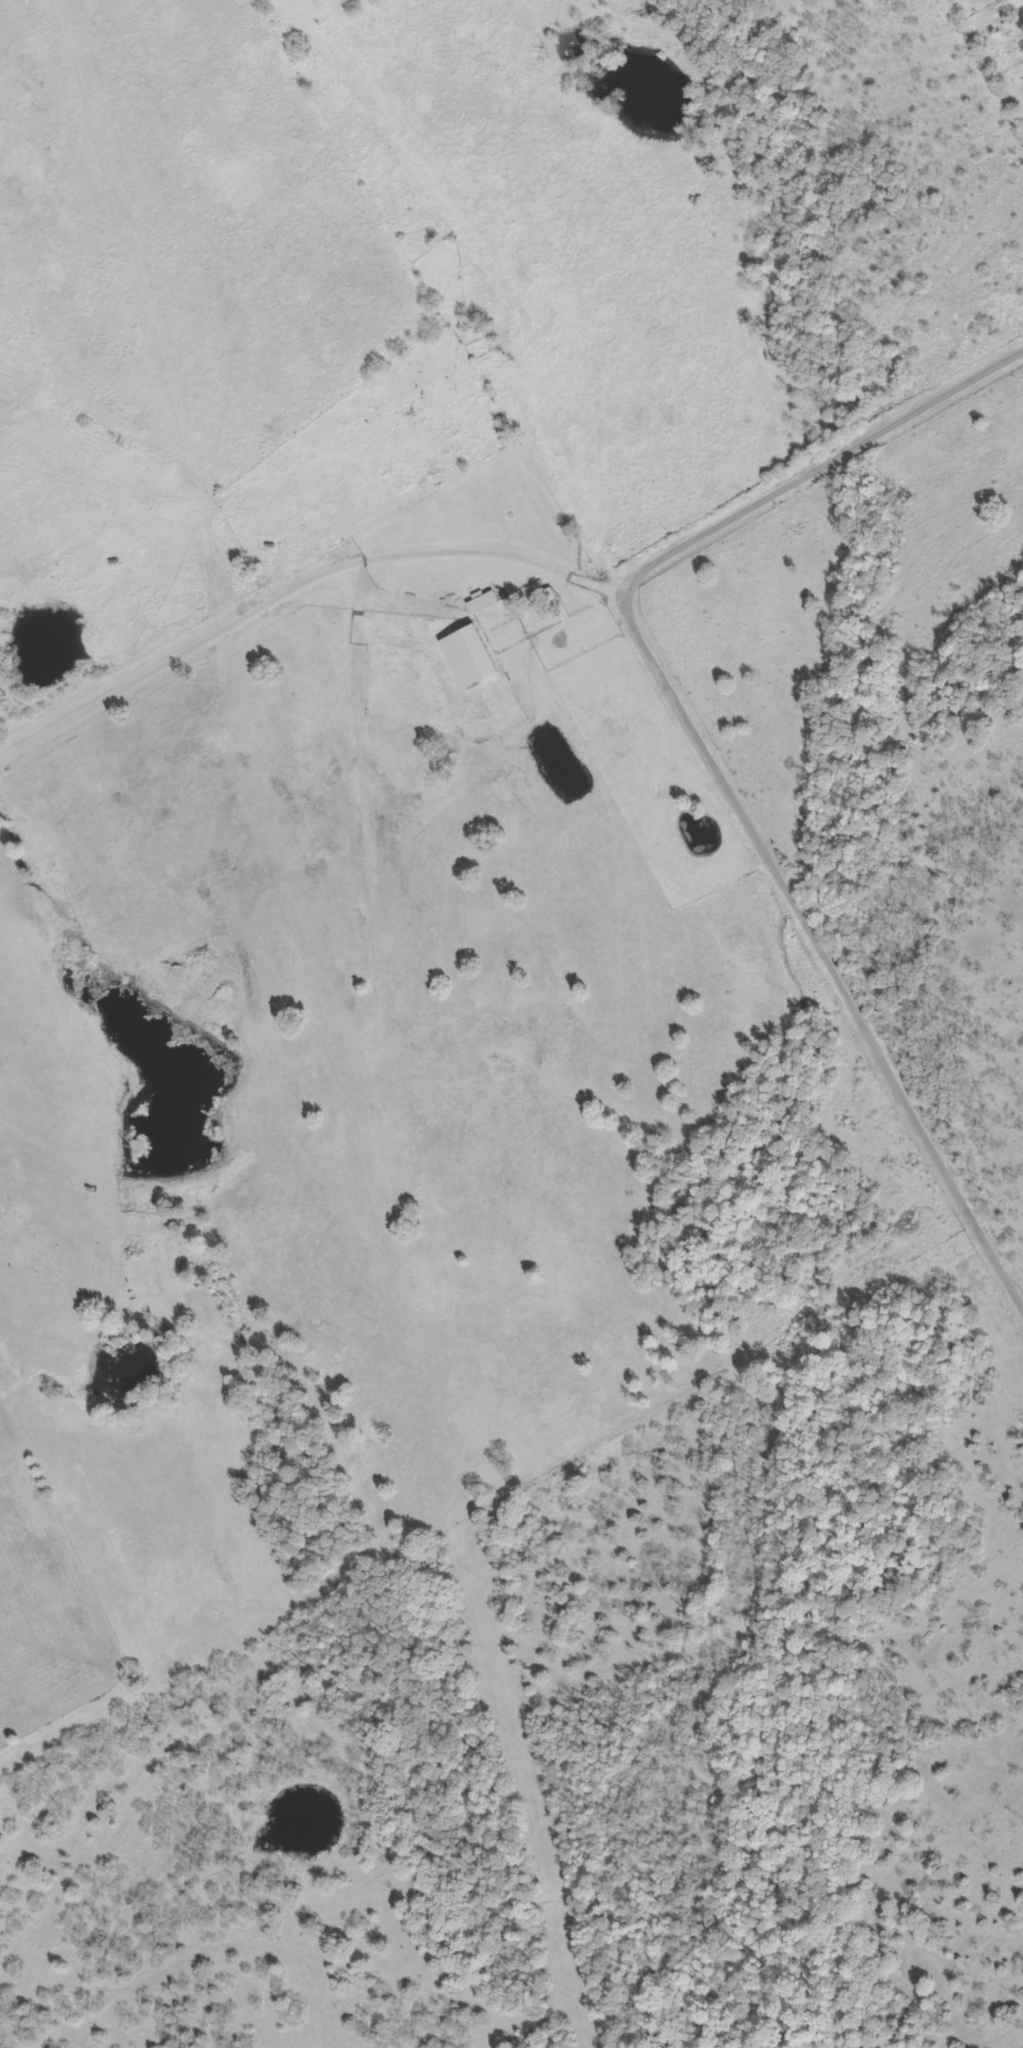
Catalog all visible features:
road: (817, 471)
road: (293, 588)
building: (475, 651)
road: (823, 950)

